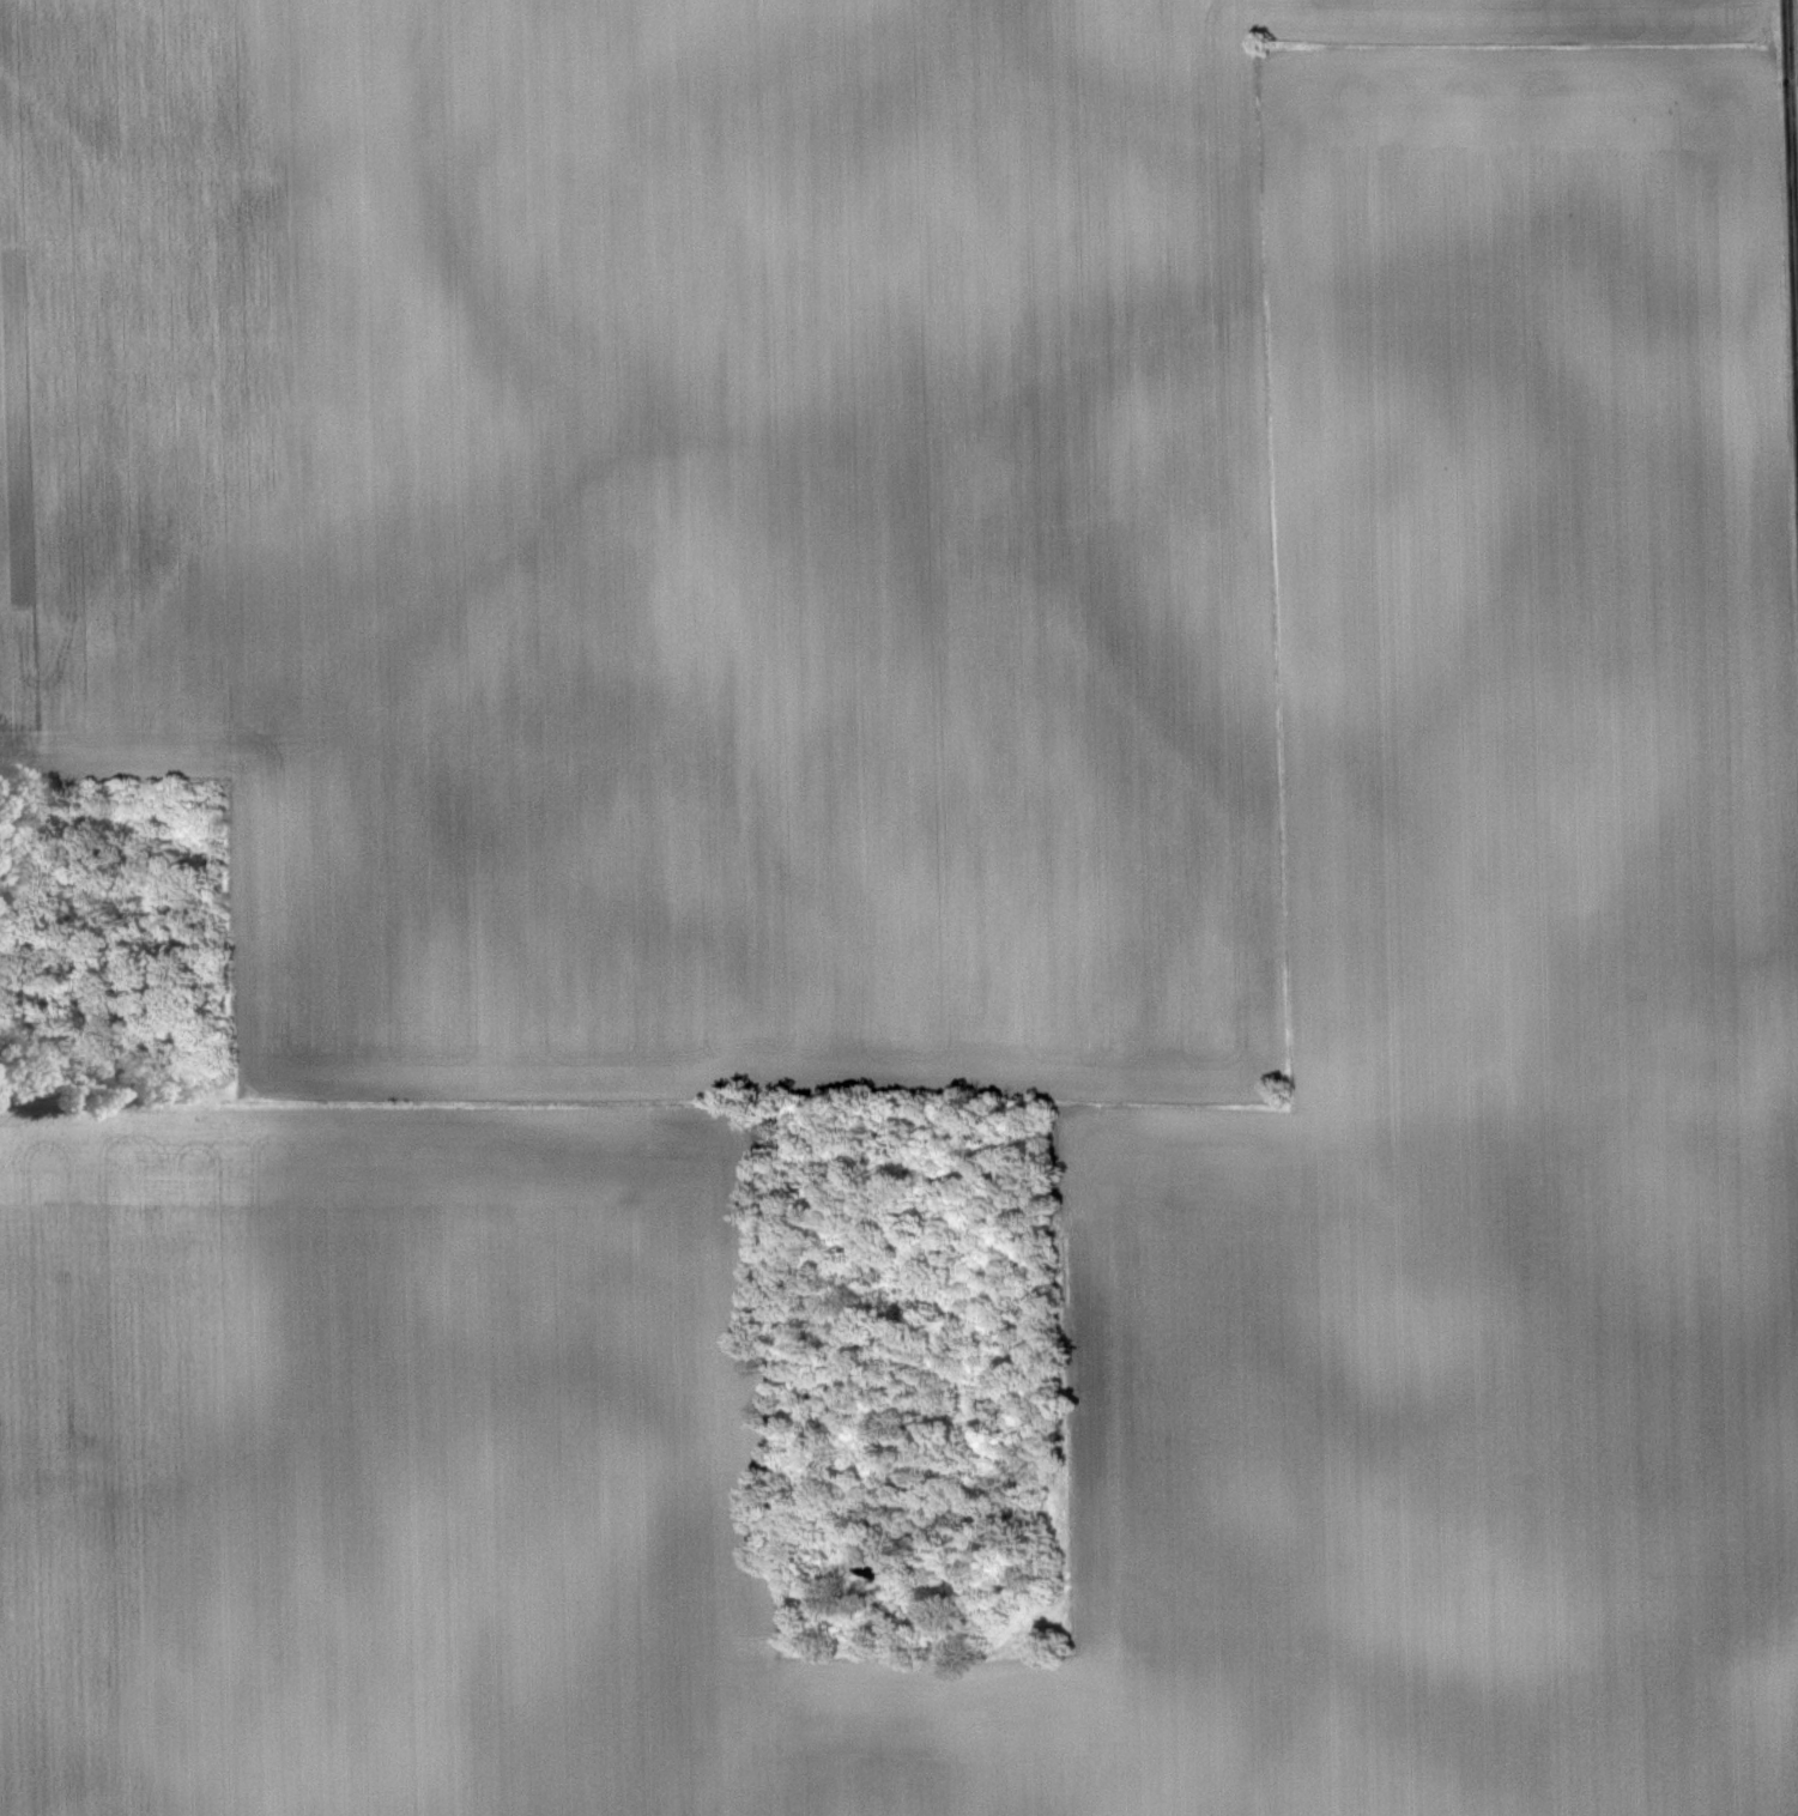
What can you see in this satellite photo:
road: (1792, 178)

